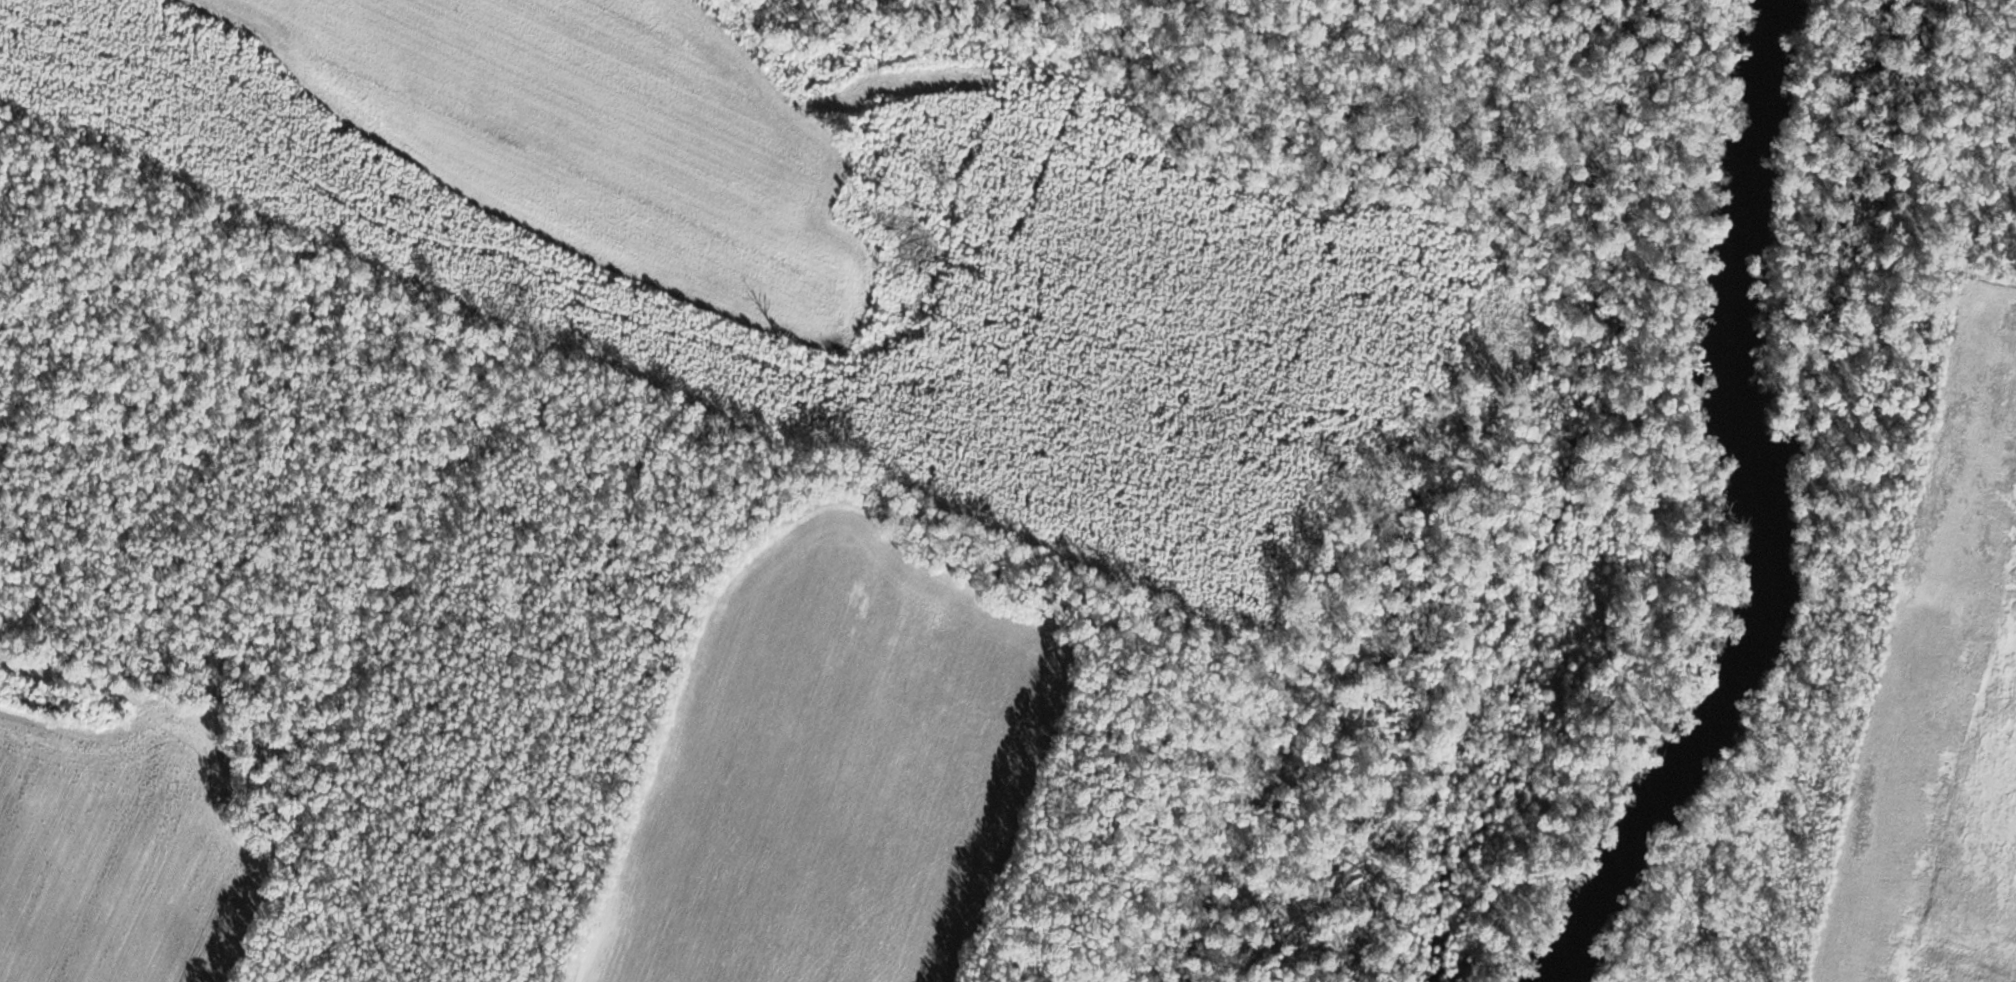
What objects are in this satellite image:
river: (1765, 514)
airport: (1880, 538)

